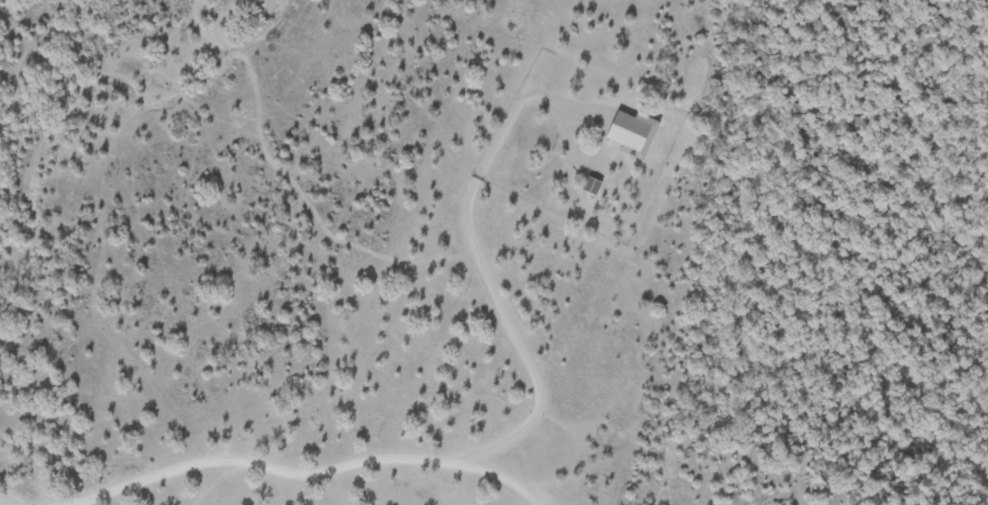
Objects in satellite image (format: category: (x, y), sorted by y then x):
road: (223, 456)

